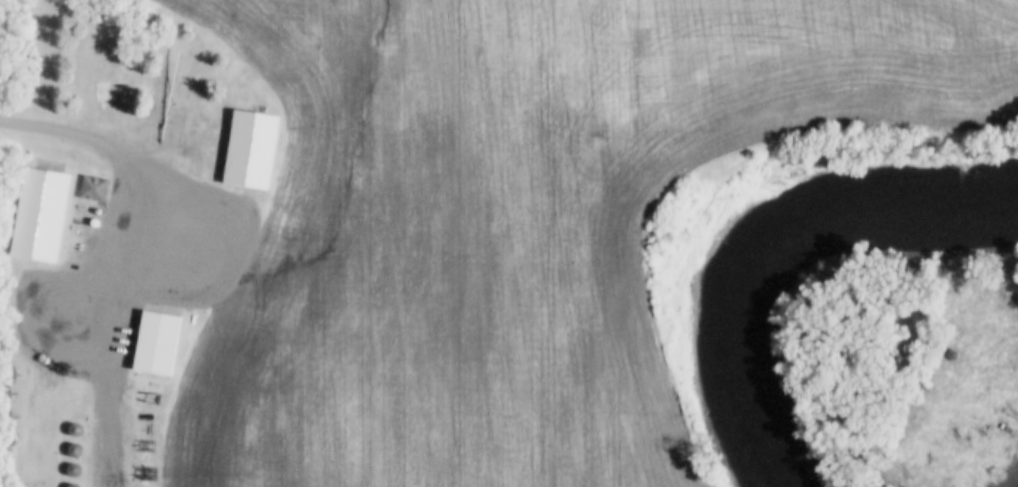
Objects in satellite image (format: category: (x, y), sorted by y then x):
road: (43, 126)
building: (250, 148)
building: (93, 186)
building: (40, 213)
river: (754, 238)
road: (110, 296)
building: (156, 341)

